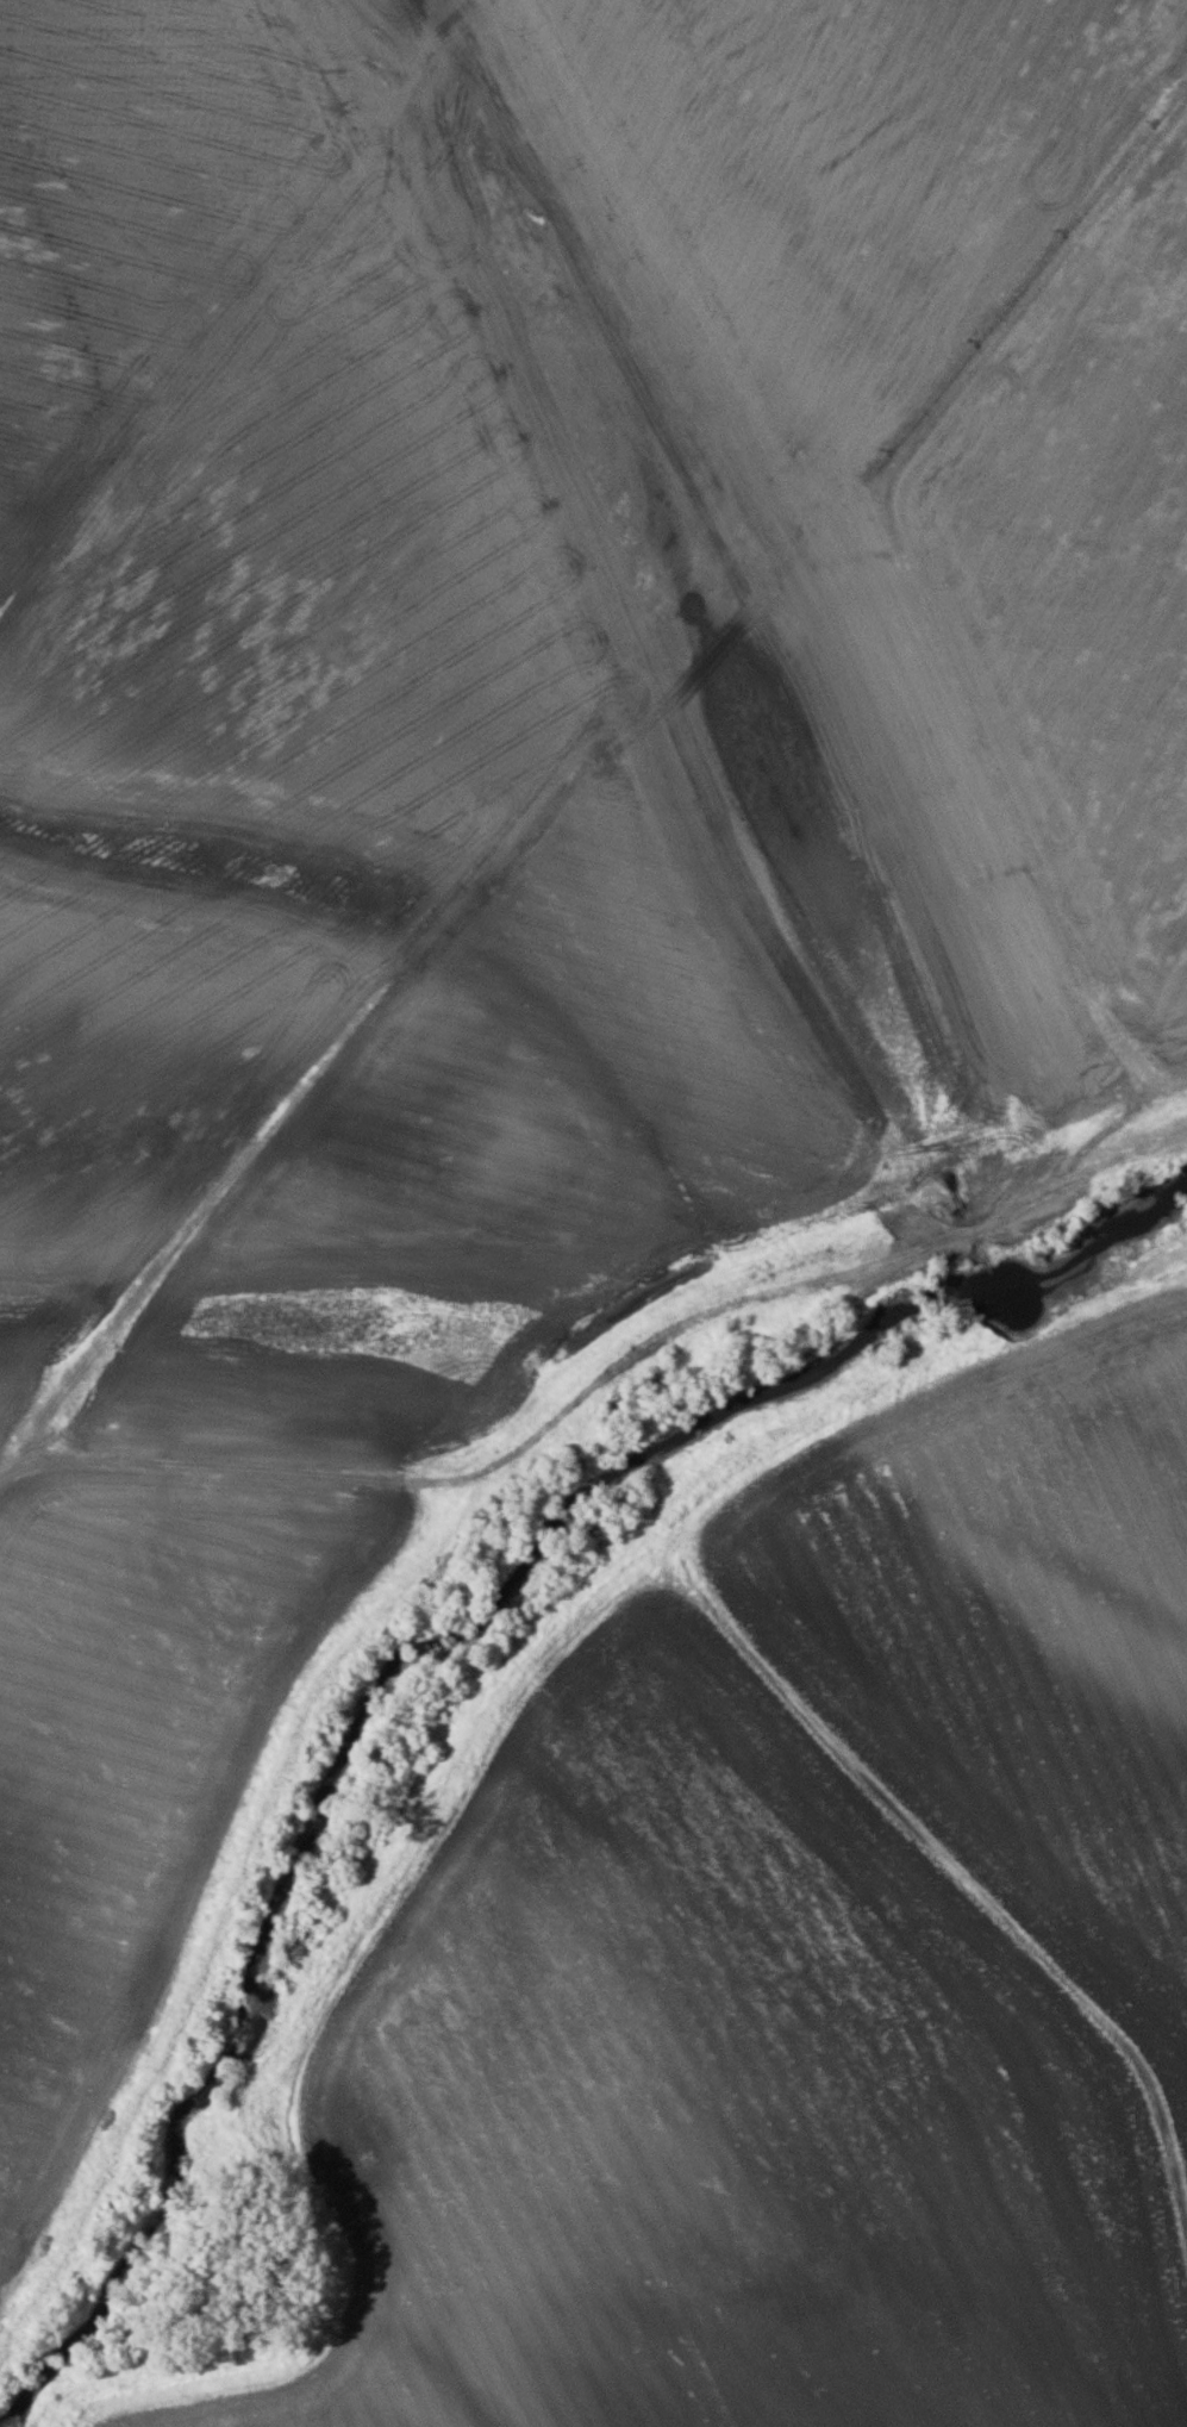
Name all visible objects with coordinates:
crop: (519, 818)
road: (456, 1768)
crop: (808, 1967)

